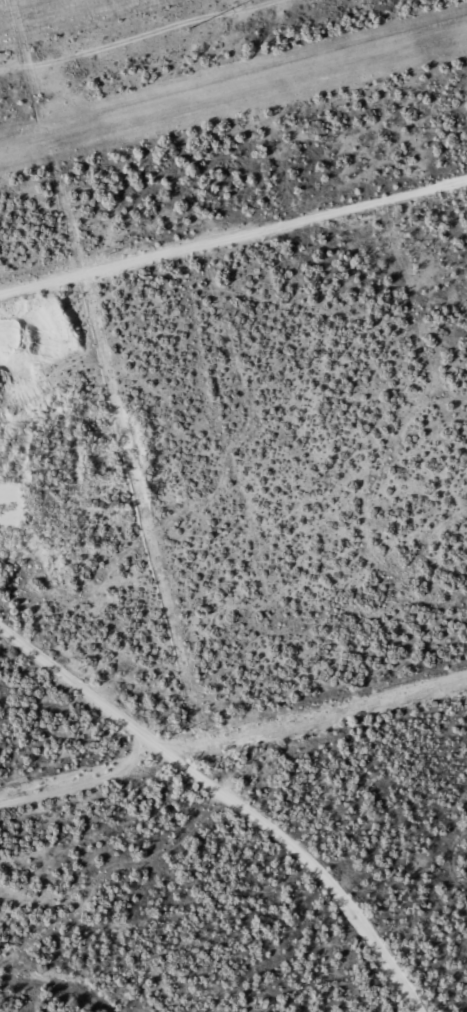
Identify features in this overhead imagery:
power tower: (187, 29)

